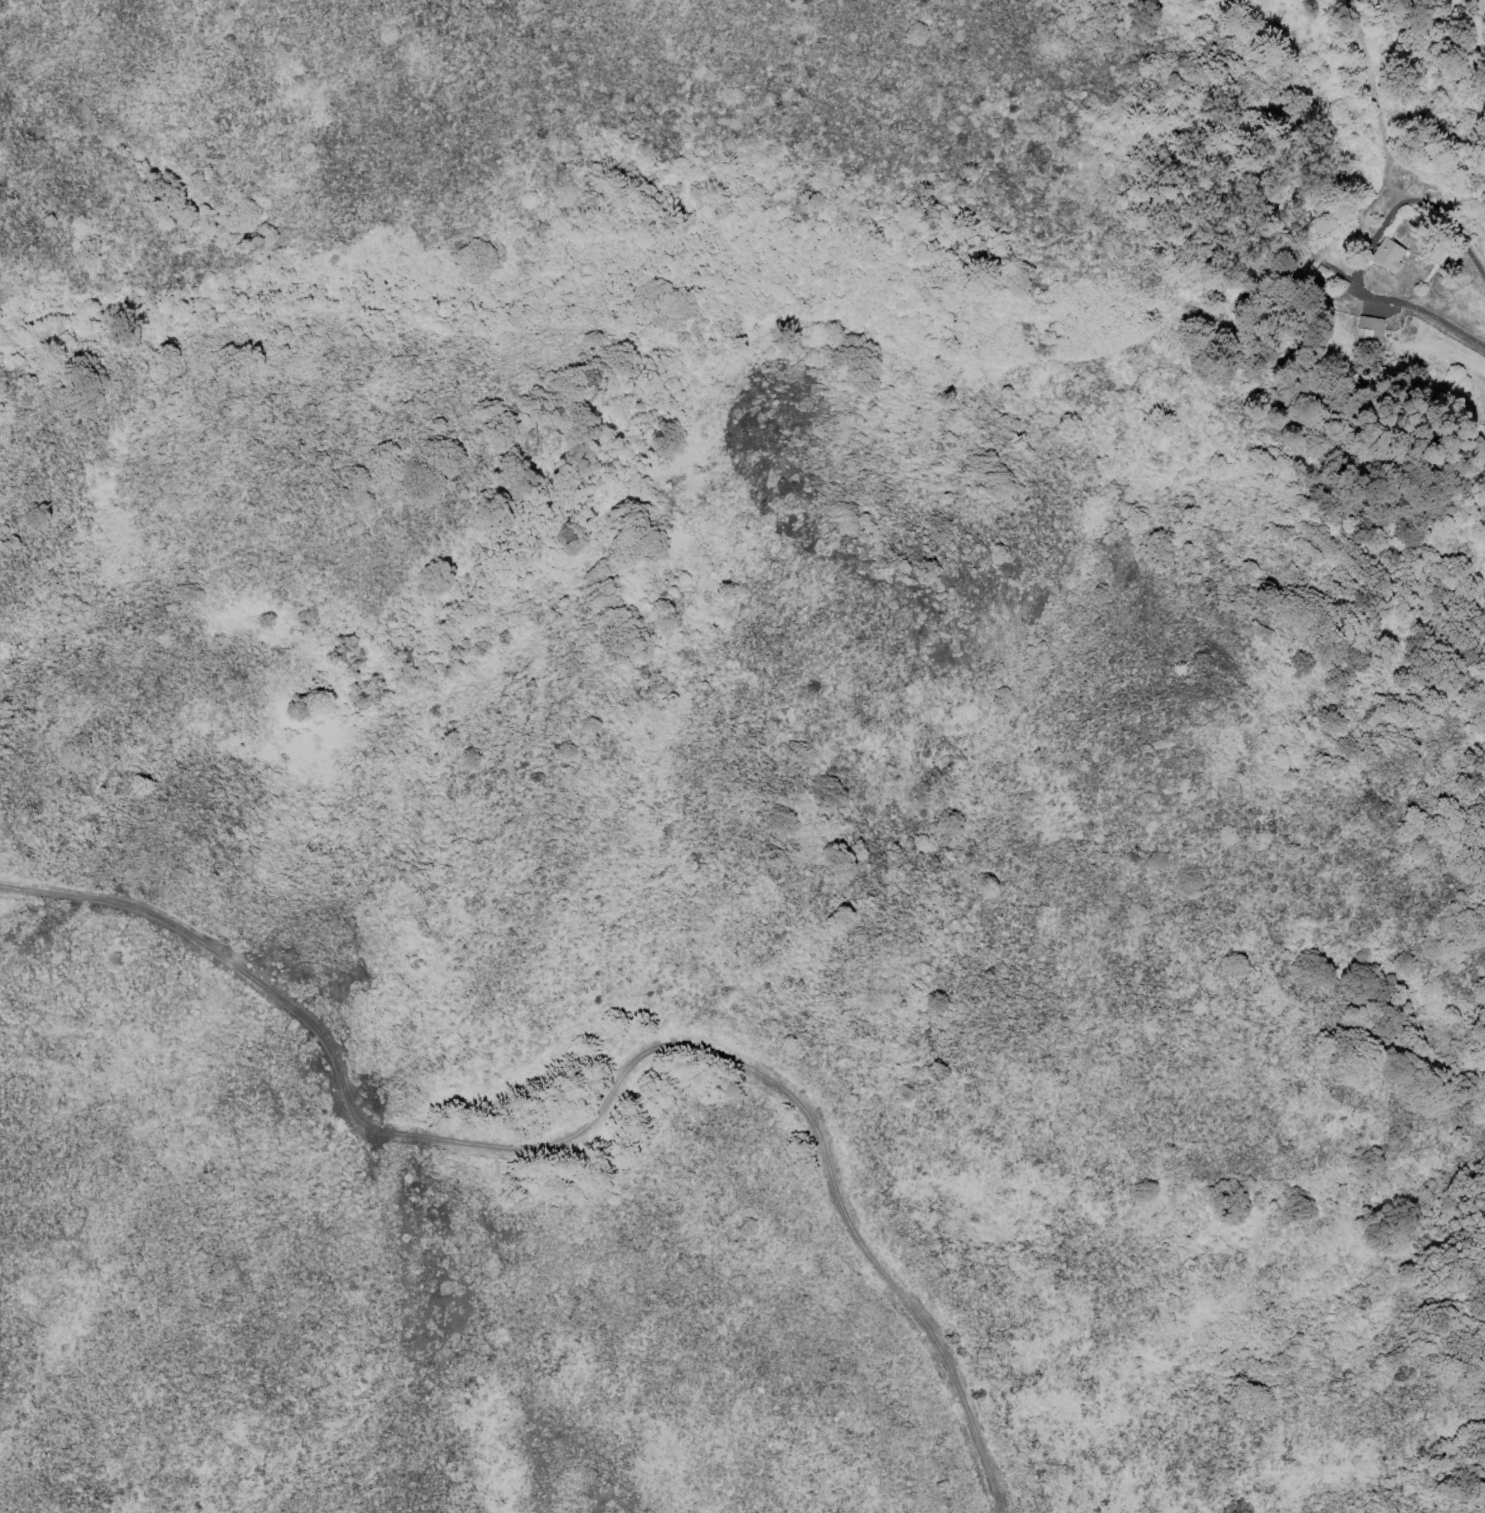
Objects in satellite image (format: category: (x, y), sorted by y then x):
building: (1481, 221)
road: (1364, 254)
building: (1389, 255)
building: (1368, 333)
road: (599, 1112)

